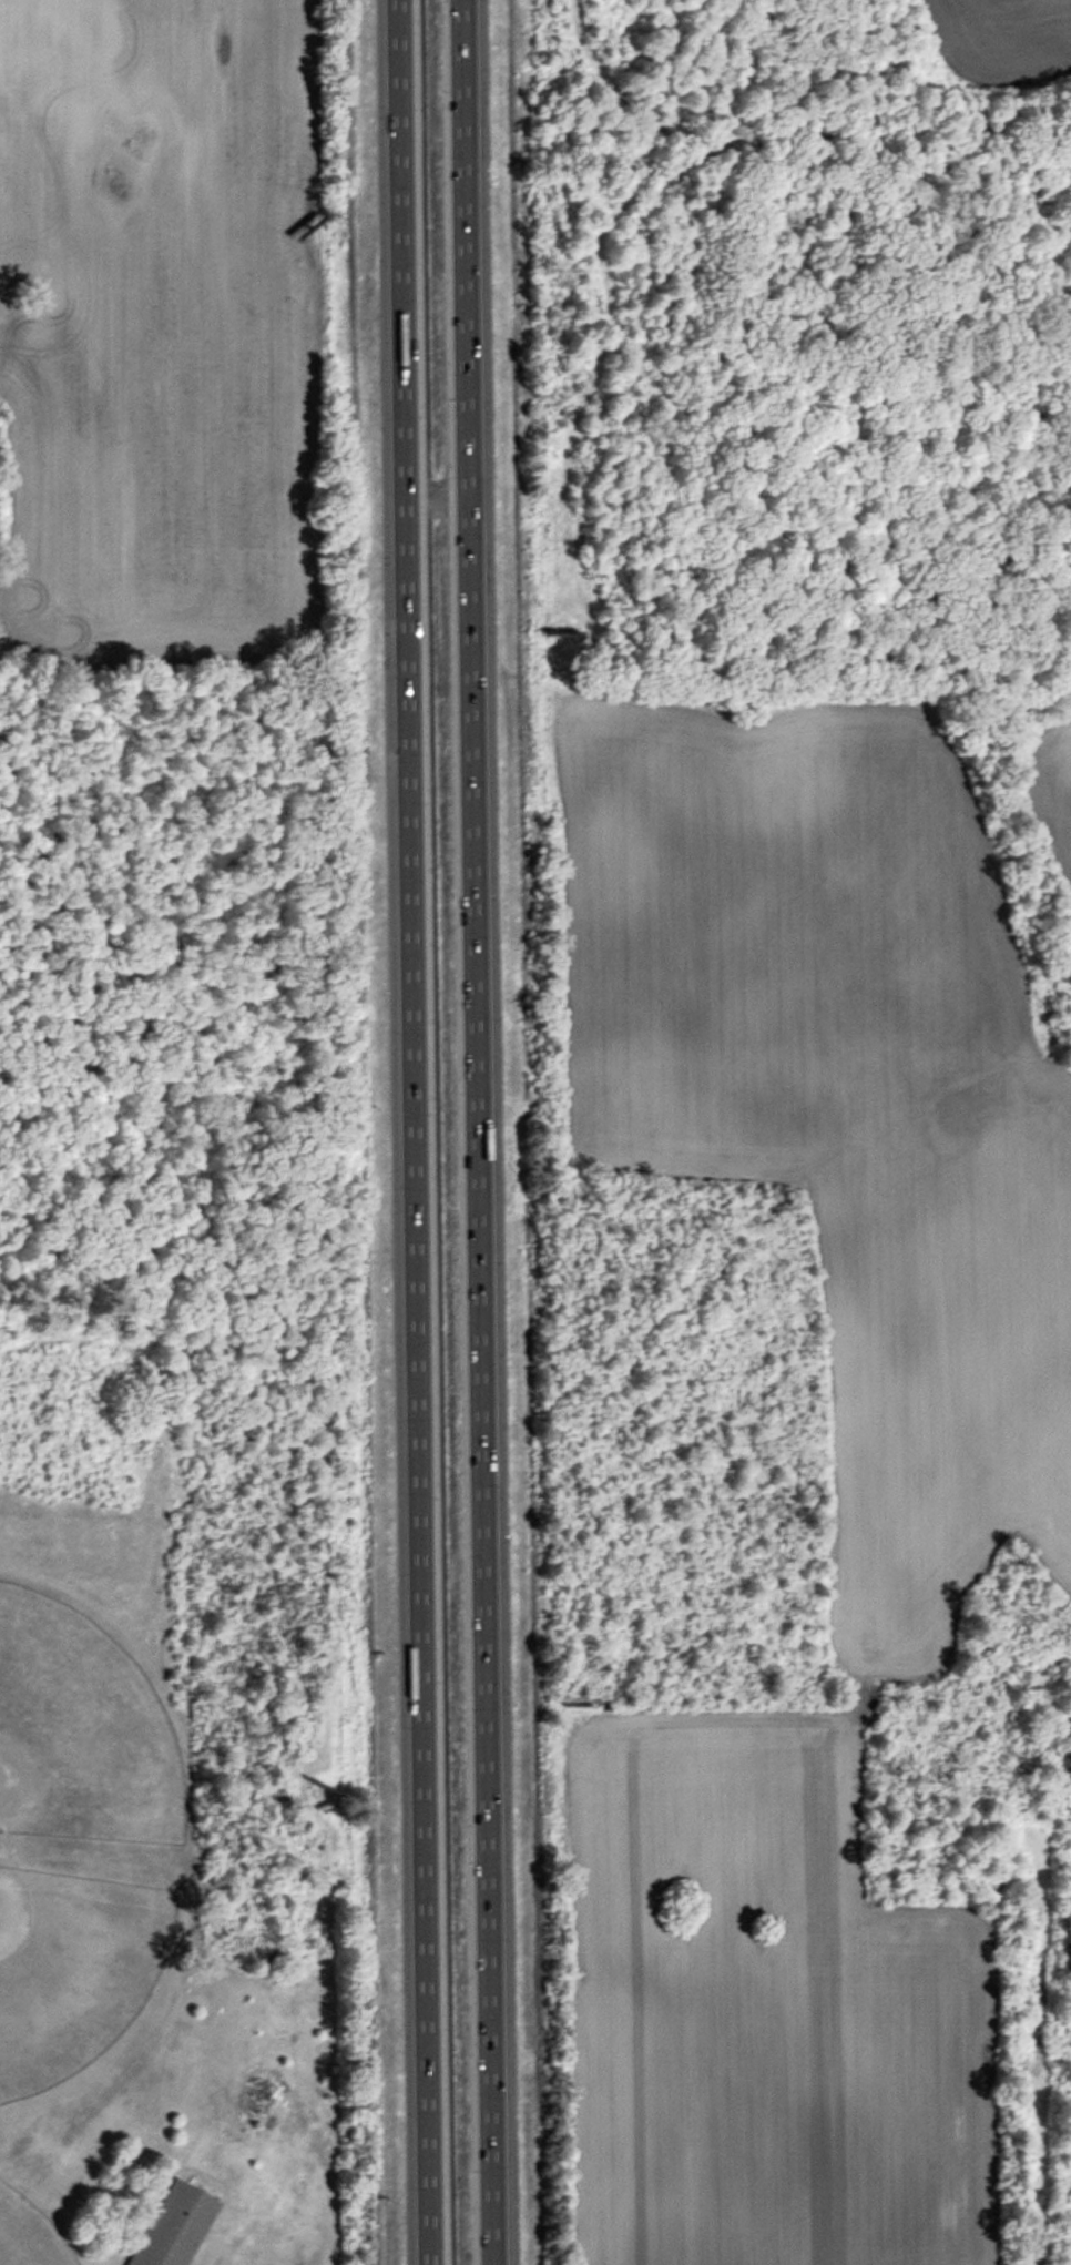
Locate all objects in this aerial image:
road: (436, 491)
road: (412, 1132)
road: (476, 1132)
building: (175, 2226)

